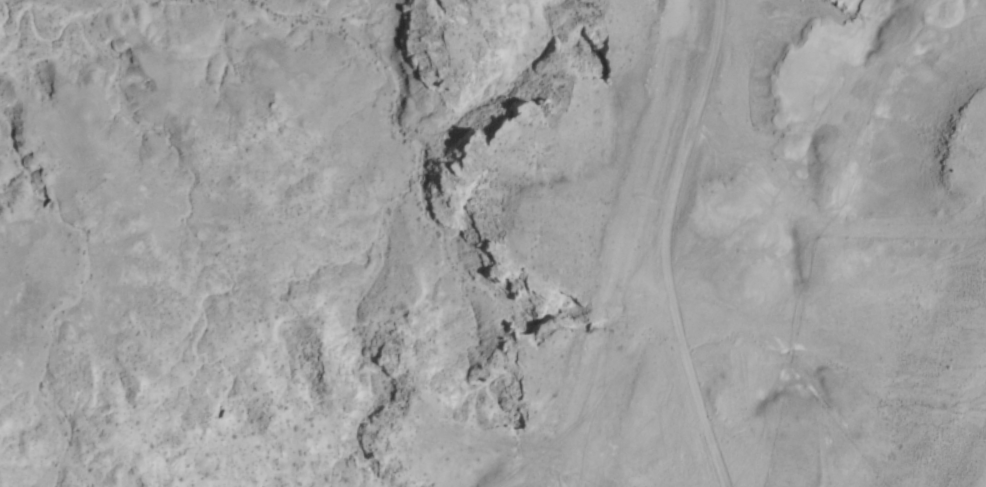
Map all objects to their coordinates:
road: (688, 245)

